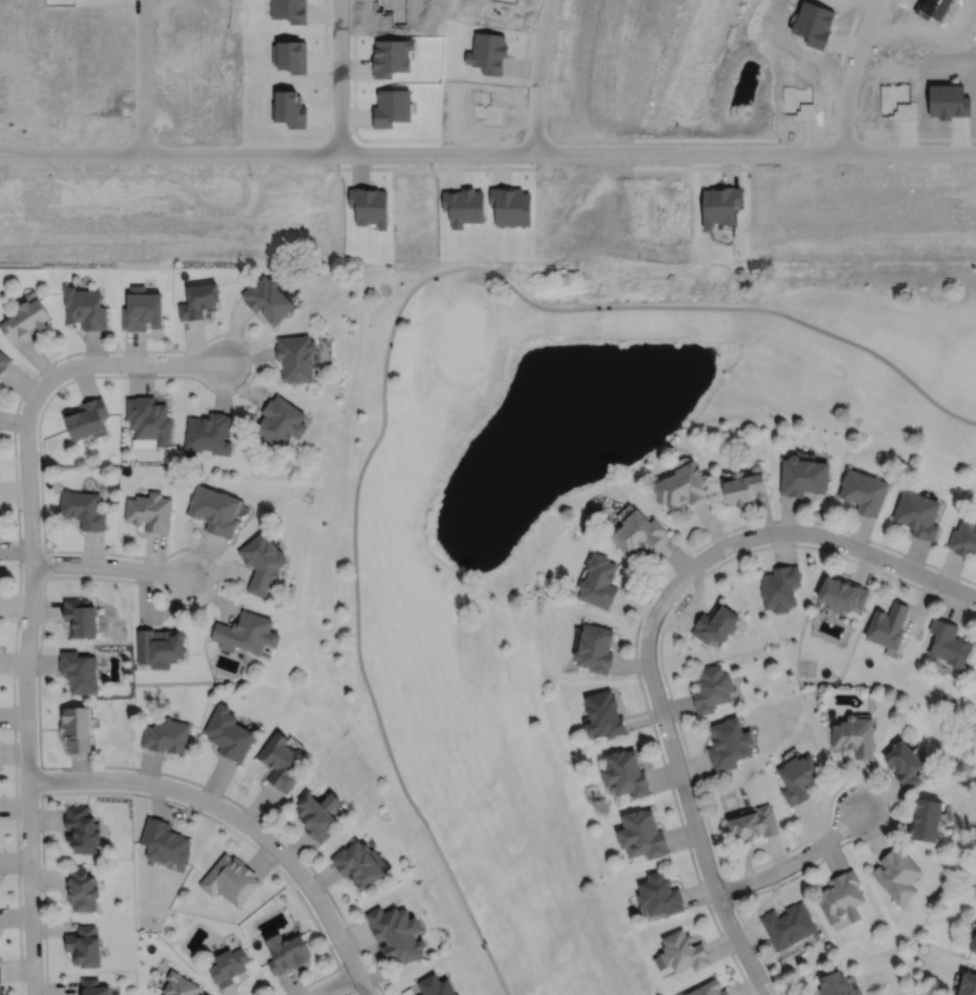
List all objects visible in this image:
road: (850, 73)
road: (141, 75)
road: (537, 75)
road: (338, 76)
road: (487, 152)
building: (267, 296)
building: (198, 298)
building: (85, 305)
building: (142, 306)
building: (26, 314)
road: (386, 350)
building: (296, 355)
building: (3, 360)
road: (191, 362)
building: (86, 417)
building: (147, 420)
building: (280, 420)
building: (208, 431)
road: (38, 434)
building: (803, 474)
building: (746, 484)
building: (682, 485)
building: (864, 490)
building: (82, 507)
building: (149, 509)
building: (214, 509)
building: (919, 513)
park: (560, 524)
building: (637, 531)
road: (797, 531)
building: (964, 536)
building: (975, 553)
road: (729, 556)
building: (261, 560)
road: (44, 562)
road: (109, 565)
building: (599, 580)
building: (779, 587)
building: (843, 593)
building: (80, 617)
road: (638, 622)
building: (715, 623)
road: (27, 625)
building: (889, 625)
building: (247, 632)
building: (950, 643)
building: (160, 644)
building: (594, 647)
building: (79, 671)
building: (711, 688)
building: (602, 714)
building: (76, 727)
building: (229, 733)
building: (166, 735)
building: (855, 736)
building: (727, 743)
building: (282, 762)
building: (906, 765)
building: (624, 774)
building: (799, 778)
road: (40, 779)
road: (156, 796)
building: (319, 816)
road: (693, 816)
road: (239, 819)
building: (927, 820)
building: (755, 824)
building: (82, 830)
building: (641, 835)
building: (164, 842)
road: (836, 847)
road: (793, 862)
building: (359, 865)
building: (897, 874)
building: (231, 880)
building: (81, 890)
building: (659, 896)
building: (841, 897)
building: (788, 926)
building: (396, 934)
building: (84, 947)
building: (974, 948)
building: (681, 949)
building: (287, 953)
building: (229, 966)
road: (345, 978)
building: (832, 982)
building: (967, 982)
road: (334, 983)
building: (180, 985)
building: (436, 987)
building: (93, 988)
building: (706, 988)
road: (348, 990)

